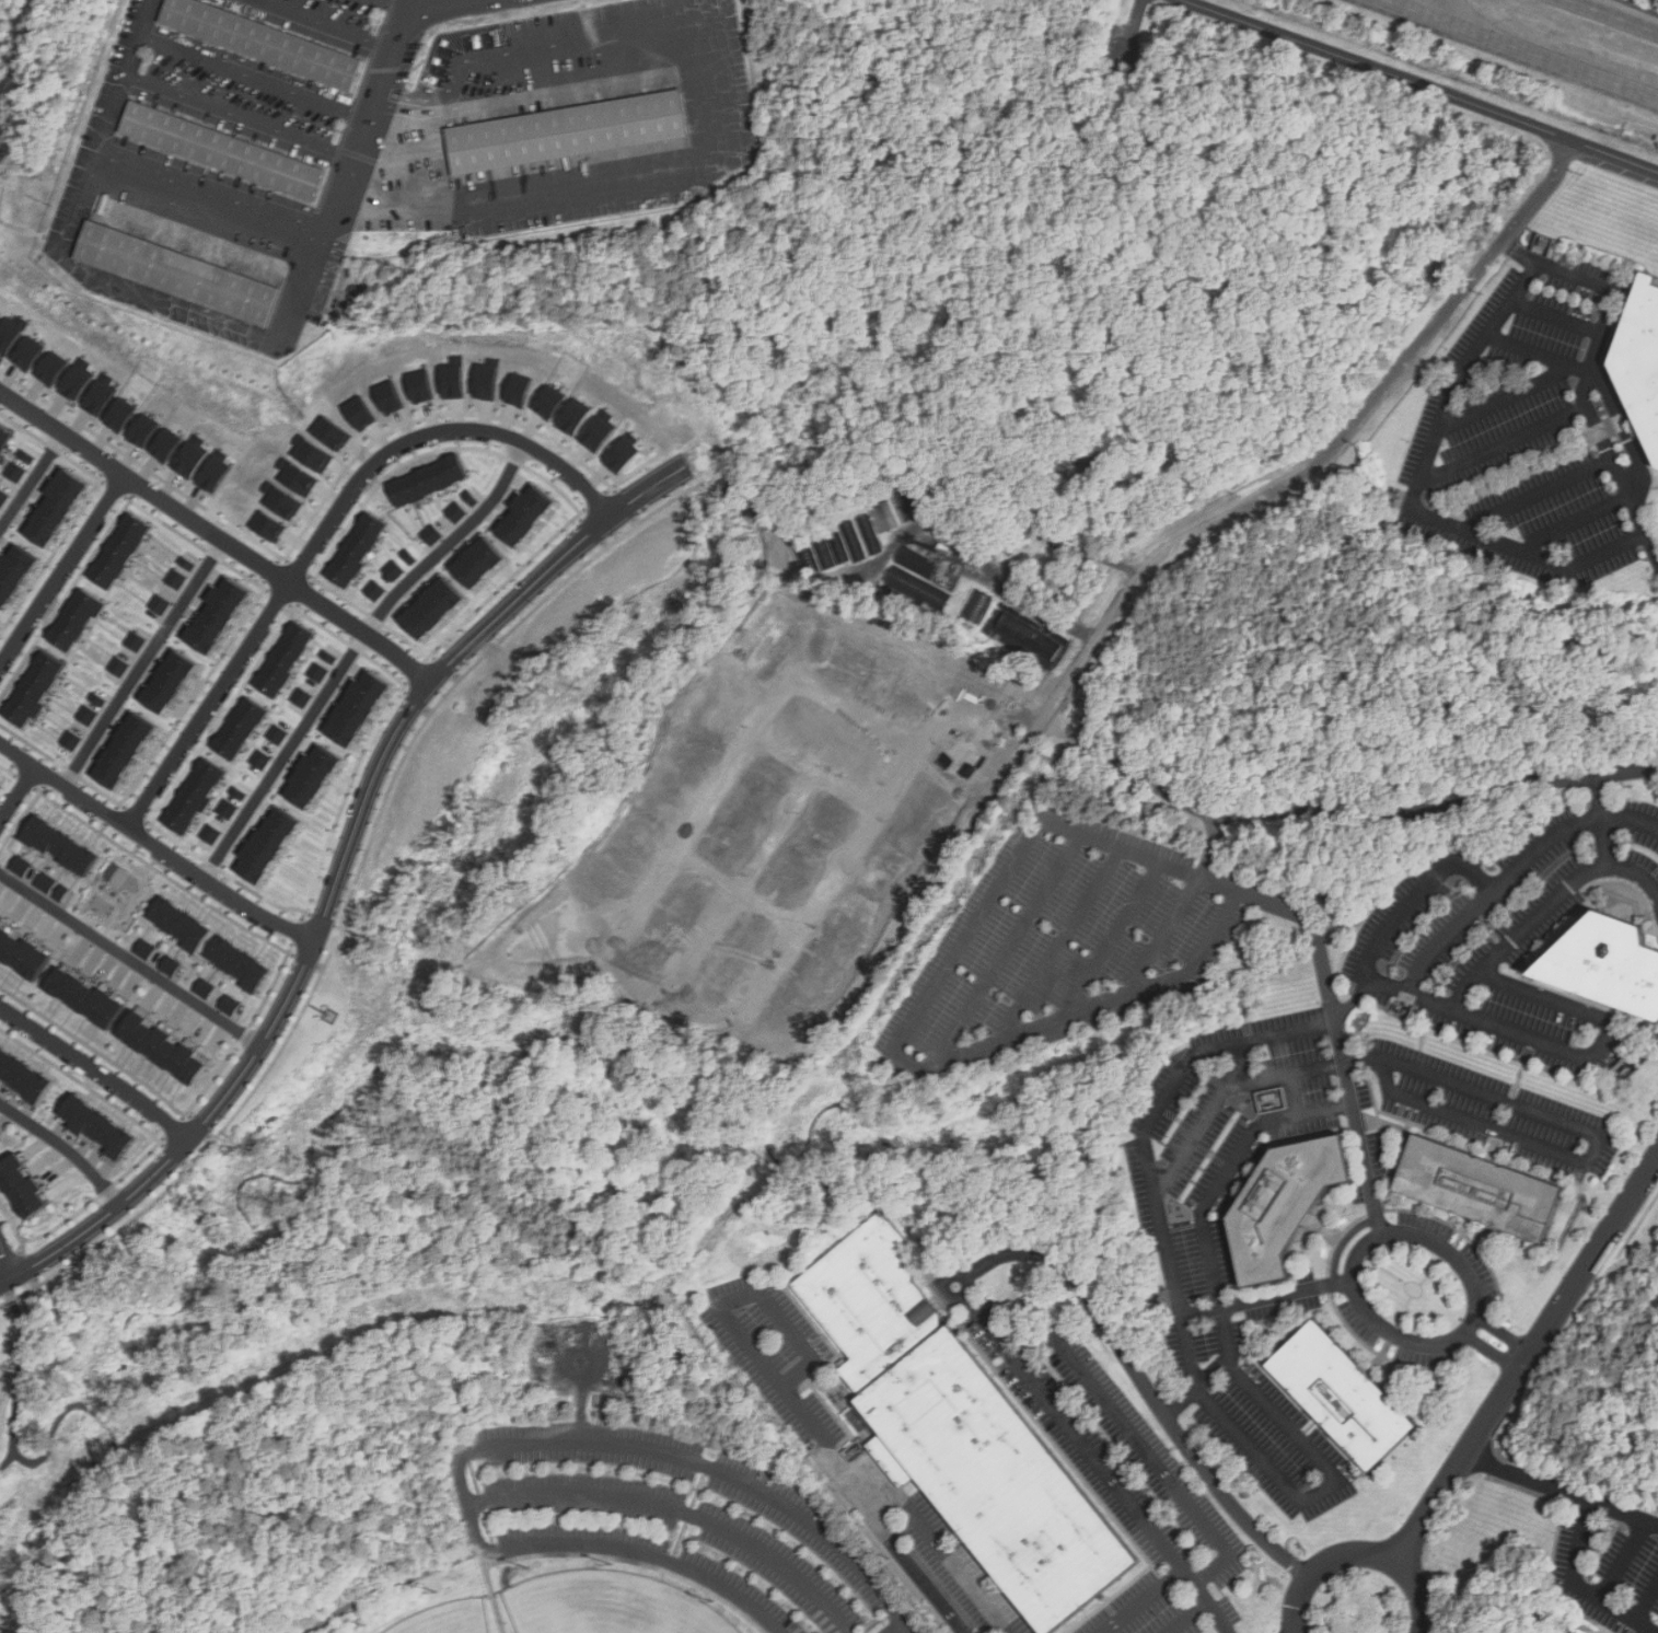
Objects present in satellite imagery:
traffic signals: (1381, 1)
road: (398, 3)
road: (442, 5)
road: (1401, 8)
road: (1424, 8)
road: (1426, 8)
road: (1610, 16)
parking lot: (329, 18)
road: (323, 24)
building: (271, 39)
building: (1124, 54)
road: (1541, 58)
road: (256, 77)
road: (1417, 86)
parking lot: (485, 104)
road: (241, 118)
road: (720, 118)
road: (111, 125)
building: (575, 126)
building: (230, 149)
road: (427, 149)
parking lot: (195, 164)
road: (349, 174)
road: (216, 192)
road: (0, 217)
building: (189, 267)
road: (171, 304)
road: (1558, 315)
building: (8, 336)
building: (28, 352)
road: (1538, 354)
building: (1644, 354)
building: (51, 368)
road: (1590, 370)
building: (453, 380)
building: (487, 381)
building: (76, 382)
building: (421, 386)
building: (519, 390)
building: (101, 396)
building: (390, 396)
road: (1506, 398)
building: (552, 402)
building: (361, 412)
building: (121, 414)
building: (575, 417)
building: (144, 430)
building: (333, 433)
building: (599, 433)
road: (428, 435)
building: (5, 438)
road: (381, 438)
road: (1504, 442)
building: (170, 444)
road: (361, 452)
building: (27, 455)
building: (315, 455)
building: (623, 455)
building: (194, 459)
road: (1321, 463)
building: (16, 471)
building: (217, 474)
building: (301, 479)
road: (30, 480)
building: (429, 480)
road: (1540, 494)
road: (1415, 495)
building: (3, 496)
building: (471, 498)
building: (287, 502)
building: (59, 506)
building: (456, 511)
building: (529, 514)
building: (884, 517)
road: (1577, 523)
building: (270, 526)
building: (432, 535)
road: (216, 537)
building: (860, 537)
building: (359, 548)
building: (123, 551)
building: (827, 551)
road: (1097, 554)
building: (409, 556)
building: (190, 563)
building: (480, 563)
road: (60, 569)
building: (394, 570)
building: (18, 575)
building: (179, 578)
building: (376, 590)
building: (916, 591)
building: (163, 603)
building: (976, 606)
building: (436, 609)
building: (222, 615)
road: (1039, 616)
building: (81, 619)
building: (0, 621)
building: (1029, 640)
building: (139, 641)
road: (352, 651)
building: (331, 657)
building: (289, 660)
building: (123, 665)
road: (143, 665)
building: (321, 672)
building: (176, 682)
building: (38, 690)
building: (302, 697)
building: (102, 699)
road: (208, 707)
road: (848, 707)
building: (362, 709)
building: (91, 715)
building: (242, 728)
building: (279, 734)
building: (74, 740)
building: (129, 751)
building: (264, 758)
road: (1625, 768)
building: (316, 776)
road: (813, 776)
road: (1156, 781)
building: (241, 792)
road: (19, 798)
building: (198, 798)
road: (706, 798)
building: (231, 809)
road: (1403, 810)
road: (880, 822)
building: (213, 834)
road: (1602, 835)
building: (63, 845)
road: (155, 846)
building: (274, 847)
road: (134, 853)
road: (1454, 864)
building: (23, 867)
road: (340, 871)
building: (119, 873)
road: (747, 877)
building: (48, 882)
road: (743, 892)
building: (65, 893)
road: (151, 894)
road: (353, 894)
road: (119, 915)
building: (183, 924)
road: (1442, 934)
road: (1163, 937)
road: (1112, 940)
road: (960, 945)
road: (1060, 945)
building: (148, 949)
road: (1005, 951)
building: (24, 953)
road: (130, 959)
building: (1612, 963)
building: (243, 964)
building: (173, 965)
road: (1466, 987)
building: (207, 988)
building: (90, 997)
building: (233, 1005)
road: (1600, 1018)
building: (166, 1049)
road: (1241, 1063)
road: (97, 1070)
building: (25, 1076)
road: (1225, 1091)
building: (1267, 1098)
building: (102, 1127)
road: (1357, 1130)
building: (0, 1138)
road: (1600, 1138)
road: (67, 1146)
road: (1230, 1168)
road: (441, 1169)
building: (24, 1188)
building: (1483, 1189)
building: (1290, 1206)
road: (1360, 1251)
road: (9, 1255)
road: (1173, 1273)
road: (756, 1293)
road: (1265, 1296)
road: (1471, 1324)
road: (998, 1337)
road: (1231, 1354)
road: (1527, 1359)
building: (1347, 1395)
road: (98, 1418)
building: (963, 1431)
road: (15, 1432)
road: (1139, 1443)
road: (680, 1456)
road: (119, 1463)
road: (1527, 1479)
road: (399, 1486)
road: (1324, 1486)
road: (492, 1494)
park: (465, 1499)
road: (870, 1510)
road: (1623, 1512)
parking lot: (674, 1517)
road: (935, 1538)
road: (1623, 1560)
road: (1322, 1565)
road: (1577, 1586)
road: (396, 1587)
road: (495, 1591)
road: (1419, 1593)
road: (1141, 1598)
road: (1646, 1600)
park: (607, 1606)
park: (445, 1618)
road: (1191, 1618)
road: (895, 1629)
building: (1590, 1630)
building: (1581, 1631)

